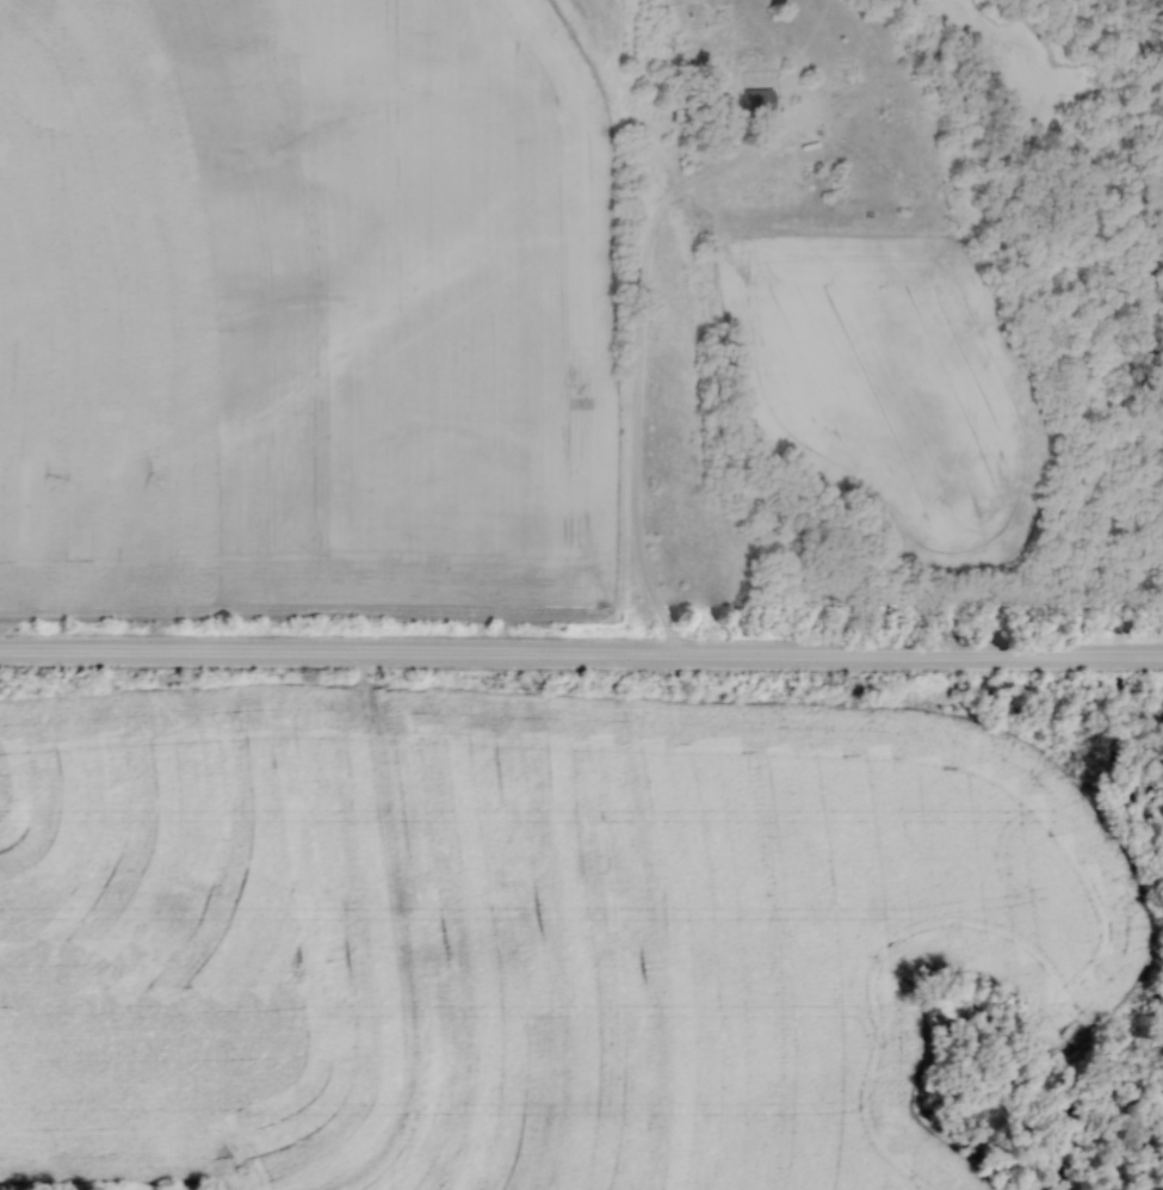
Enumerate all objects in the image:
building: (749, 100)
building: (678, 107)
road: (639, 374)
road: (581, 653)

